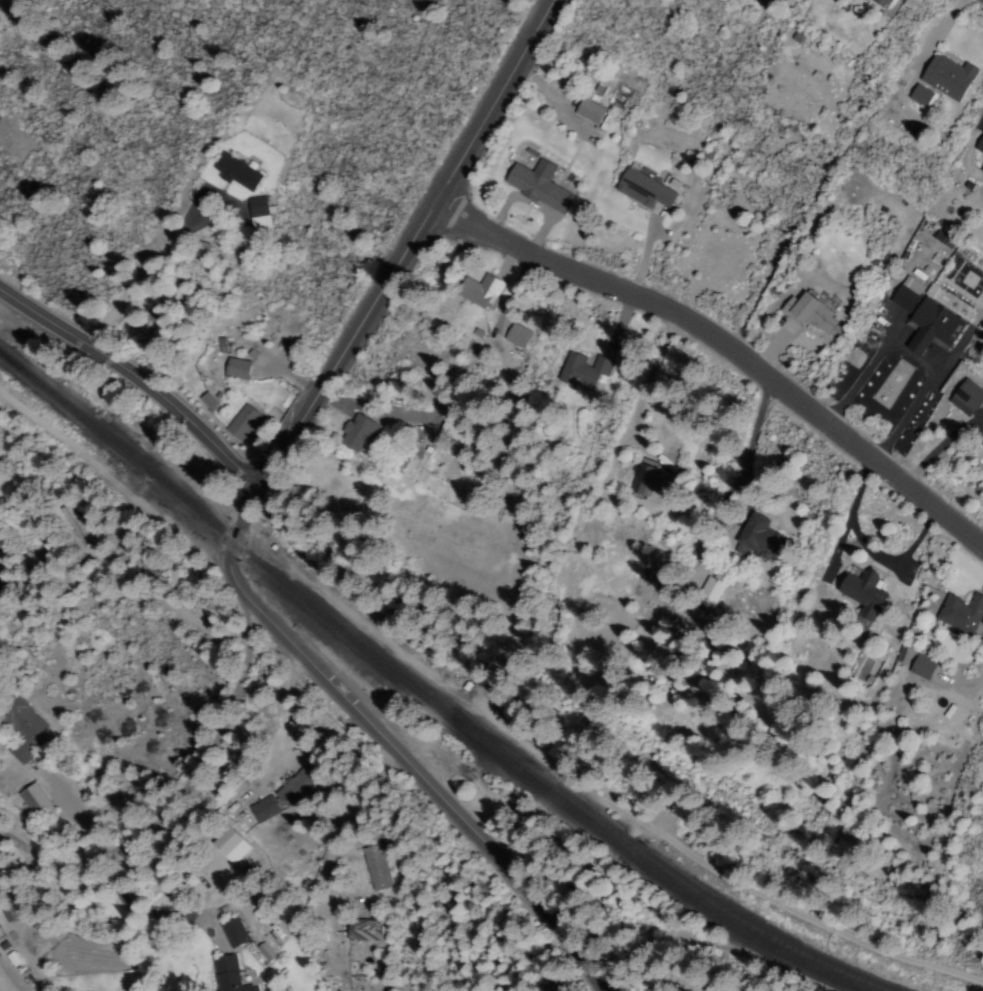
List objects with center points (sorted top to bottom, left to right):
building: (881, 3)
building: (947, 77)
building: (919, 96)
building: (588, 111)
building: (979, 145)
building: (981, 170)
building: (236, 173)
building: (538, 186)
building: (643, 190)
building: (258, 213)
road: (416, 243)
building: (479, 292)
building: (907, 294)
building: (808, 313)
building: (932, 327)
building: (516, 336)
road: (729, 343)
building: (236, 370)
building: (578, 373)
road: (140, 376)
building: (966, 398)
building: (207, 402)
building: (242, 424)
building: (355, 434)
building: (652, 481)
railway: (227, 535)
building: (709, 594)
building: (863, 594)
building: (961, 614)
building: (902, 655)
building: (921, 668)
building: (22, 729)
road: (386, 743)
building: (280, 798)
road: (181, 801)
building: (35, 802)
building: (229, 846)
building: (376, 868)
railway: (645, 870)
railway: (661, 870)
building: (363, 930)
building: (232, 932)
building: (227, 974)

